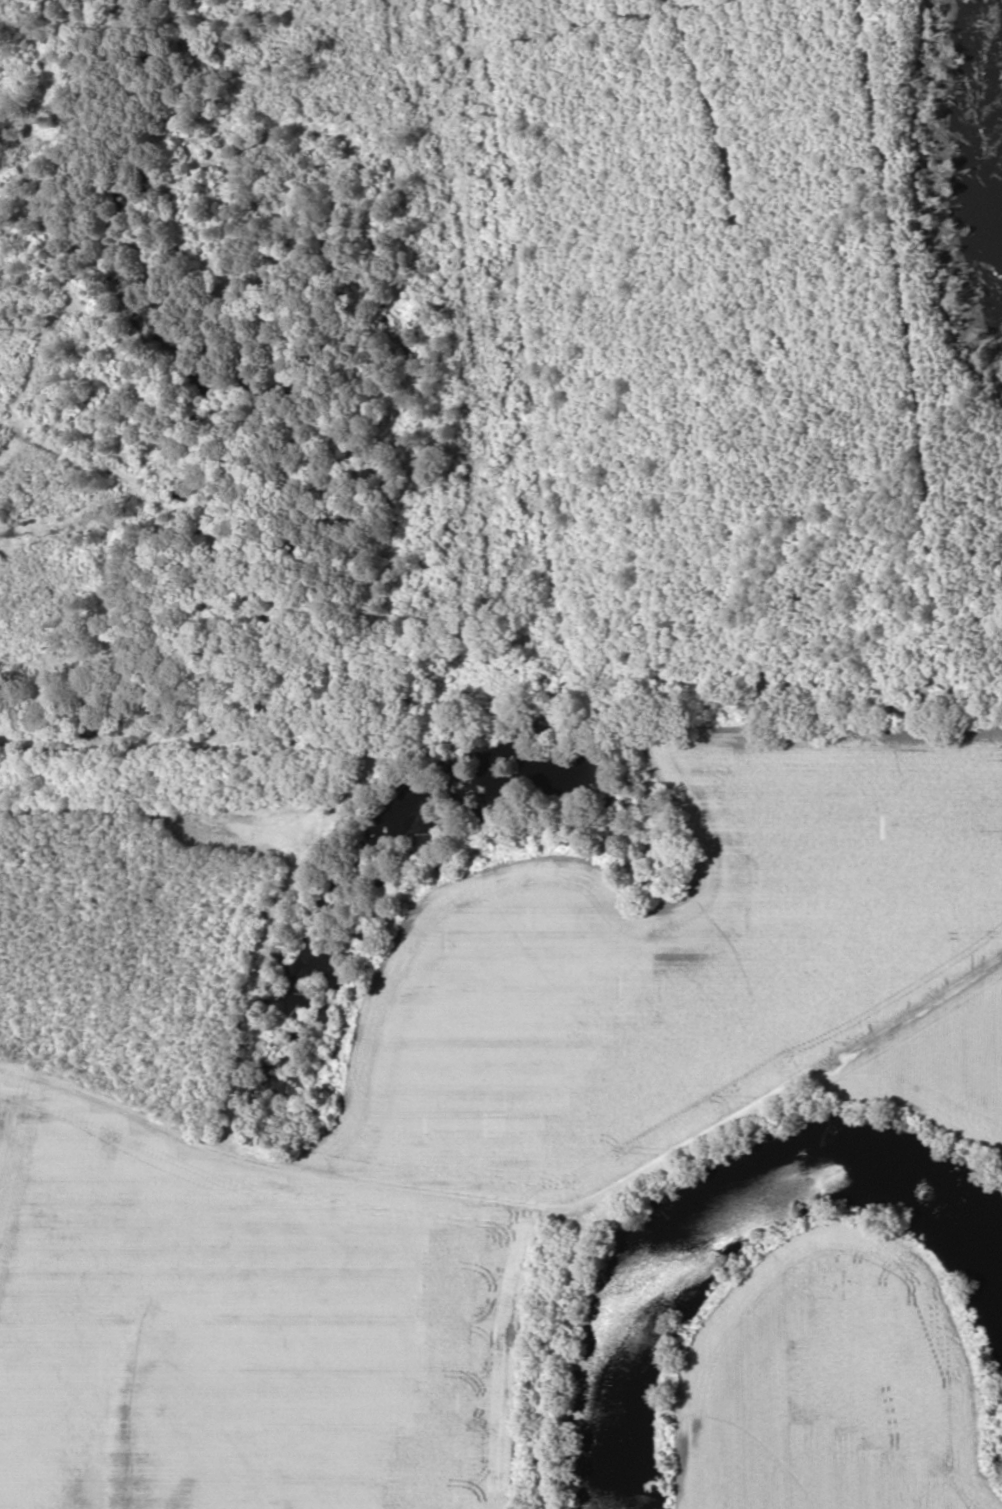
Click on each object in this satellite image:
river: (1000, 120)
road: (262, 1136)

